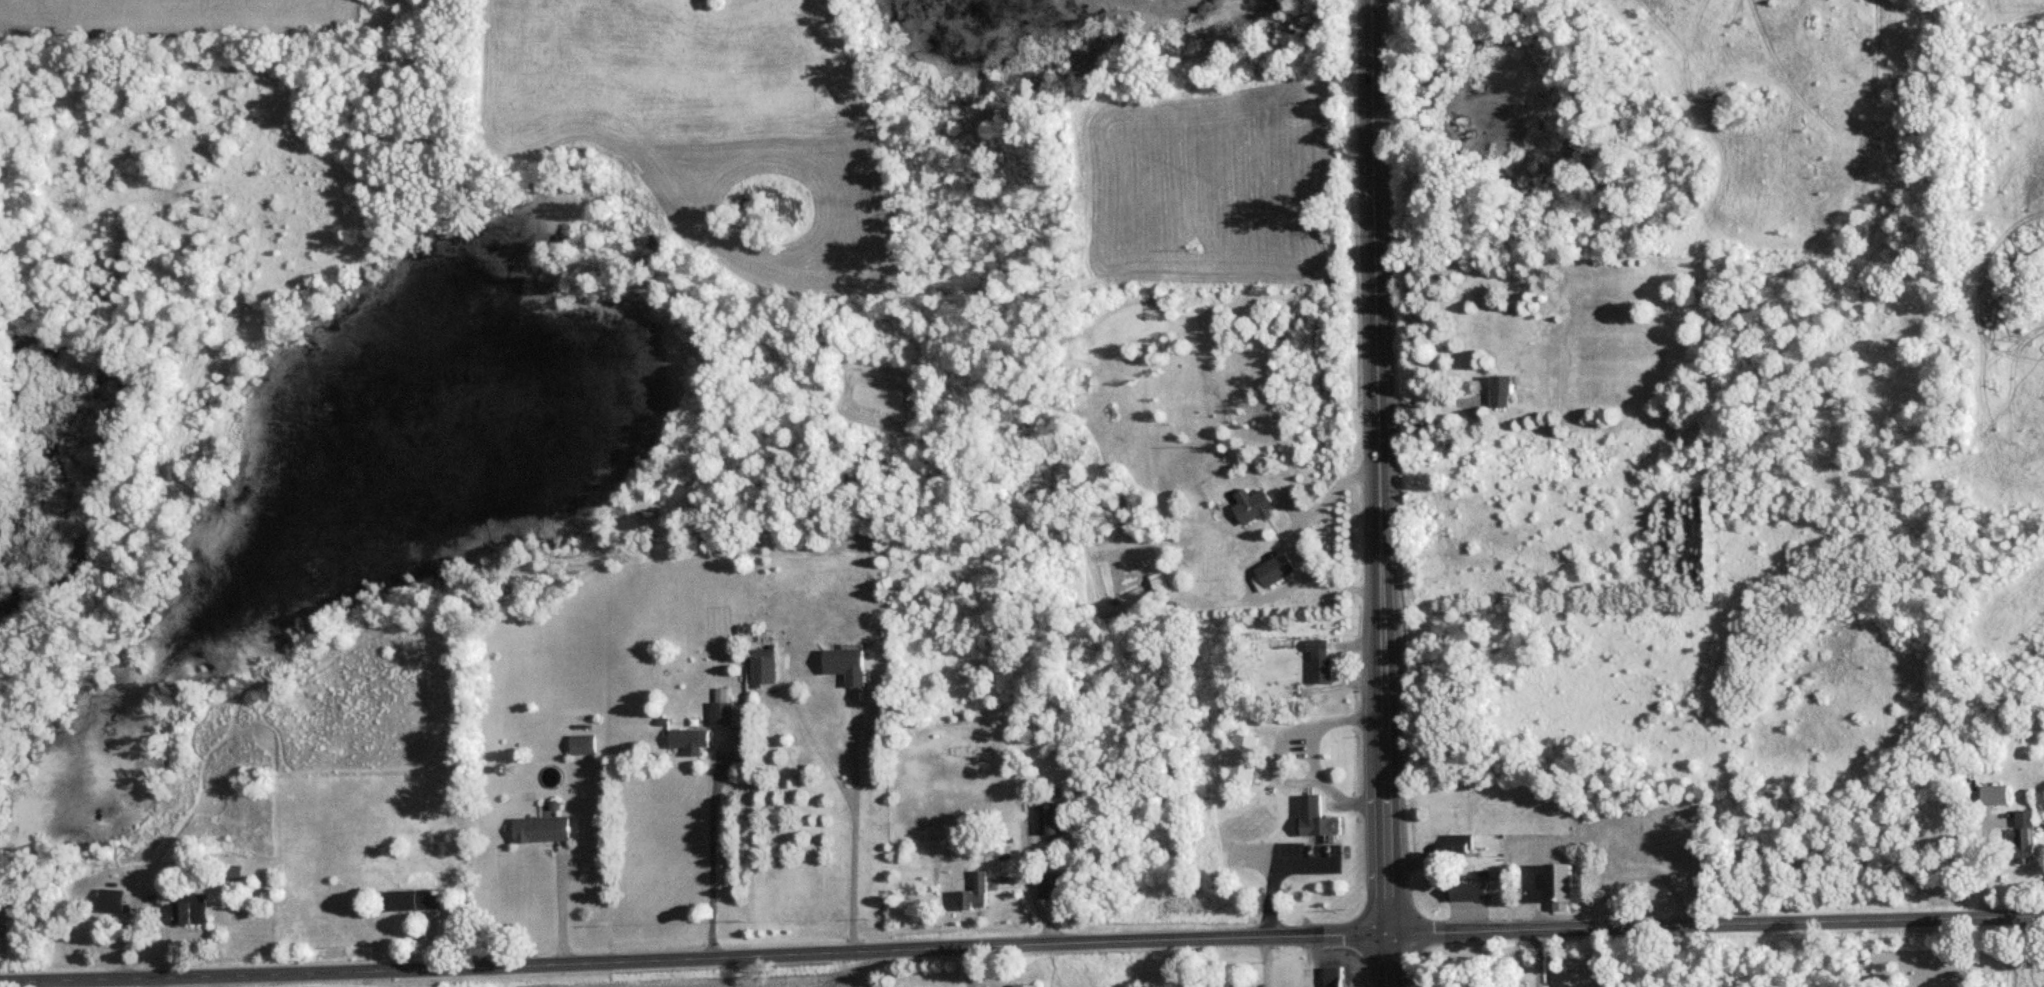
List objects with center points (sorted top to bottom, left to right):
building: (1501, 389)
road: (1382, 493)
building: (1254, 505)
road: (1304, 547)
building: (1275, 568)
building: (1318, 660)
building: (847, 663)
building: (764, 665)
building: (722, 712)
building: (689, 738)
building: (582, 743)
road: (1310, 756)
building: (1239, 758)
road: (1272, 758)
building: (1052, 818)
building: (1313, 818)
building: (541, 827)
road: (852, 831)
building: (2026, 833)
building: (1458, 841)
road: (711, 853)
road: (1633, 876)
road: (1287, 877)
building: (1560, 884)
building: (1054, 886)
building: (1466, 890)
building: (976, 891)
building: (111, 899)
building: (413, 899)
building: (193, 909)
road: (561, 910)
road: (1022, 950)
road: (1538, 960)
building: (1333, 976)
road: (155, 981)
building: (1026, 985)

